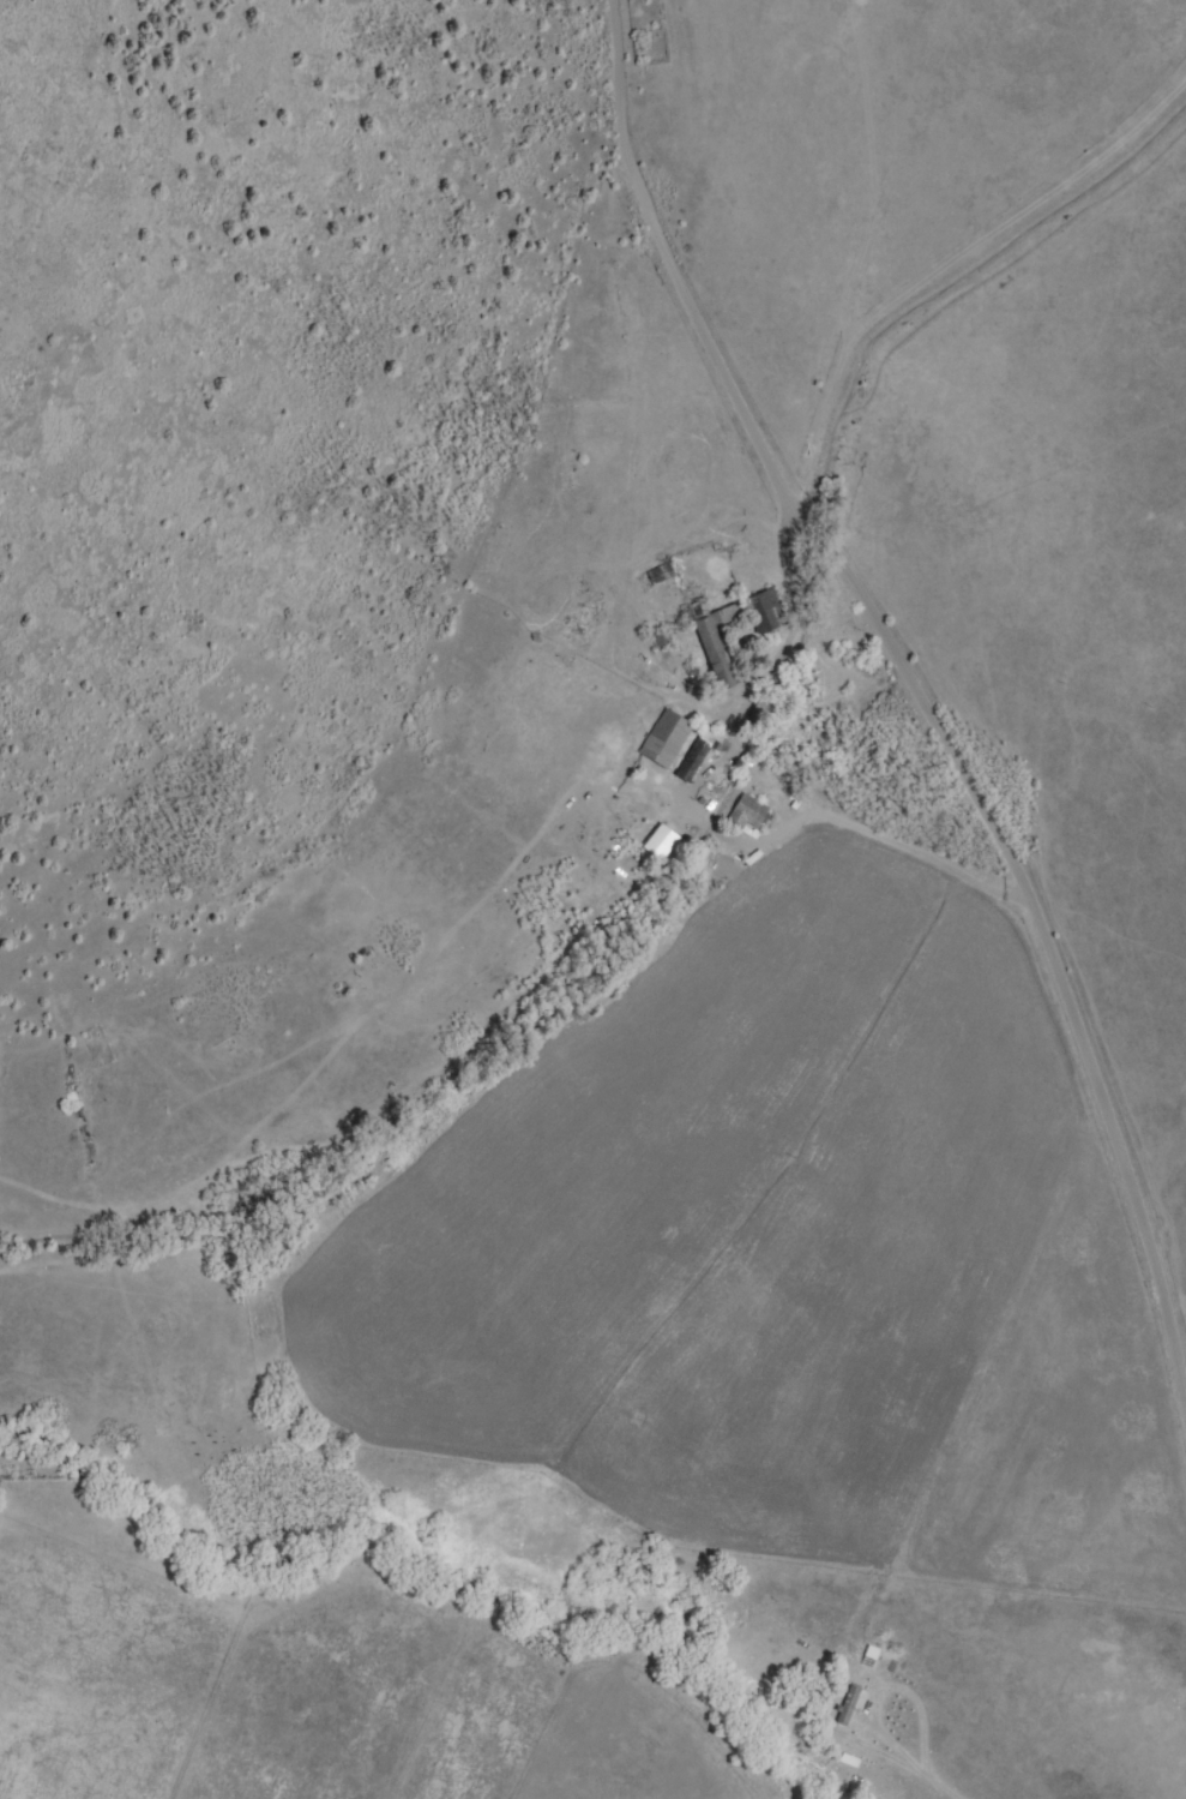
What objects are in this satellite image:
park: (649, 31)
road: (985, 246)
building: (661, 576)
building: (736, 634)
road: (935, 665)
building: (764, 719)
building: (668, 739)
building: (697, 757)
building: (751, 814)
building: (663, 842)
building: (850, 1707)

